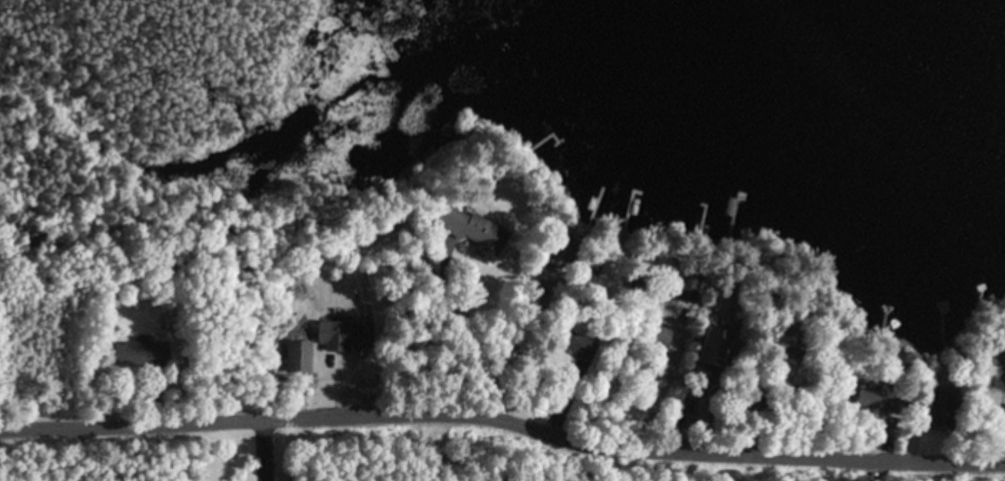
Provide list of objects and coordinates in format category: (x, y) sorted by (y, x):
building: (477, 230)
building: (344, 334)
building: (584, 346)
building: (713, 346)
building: (142, 352)
building: (998, 377)
building: (880, 394)
building: (1004, 414)
road: (504, 420)

